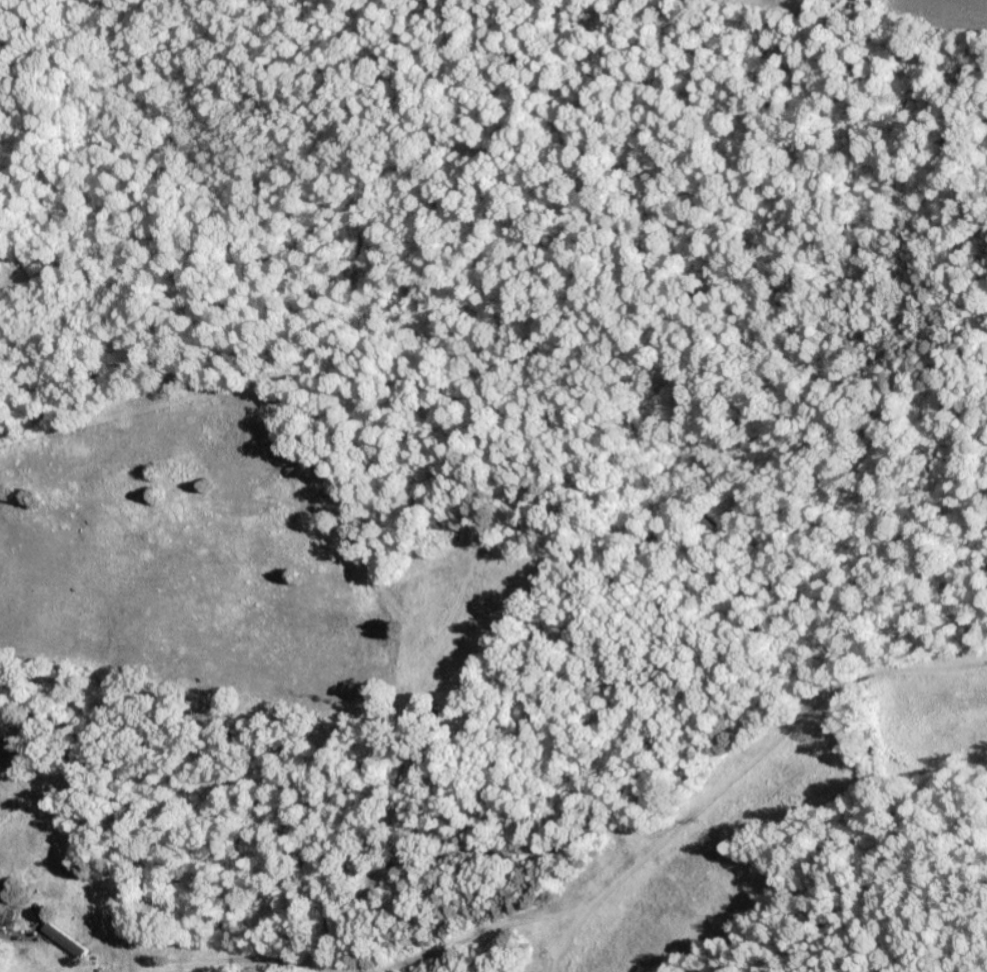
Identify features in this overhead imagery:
building: (5, 914)

